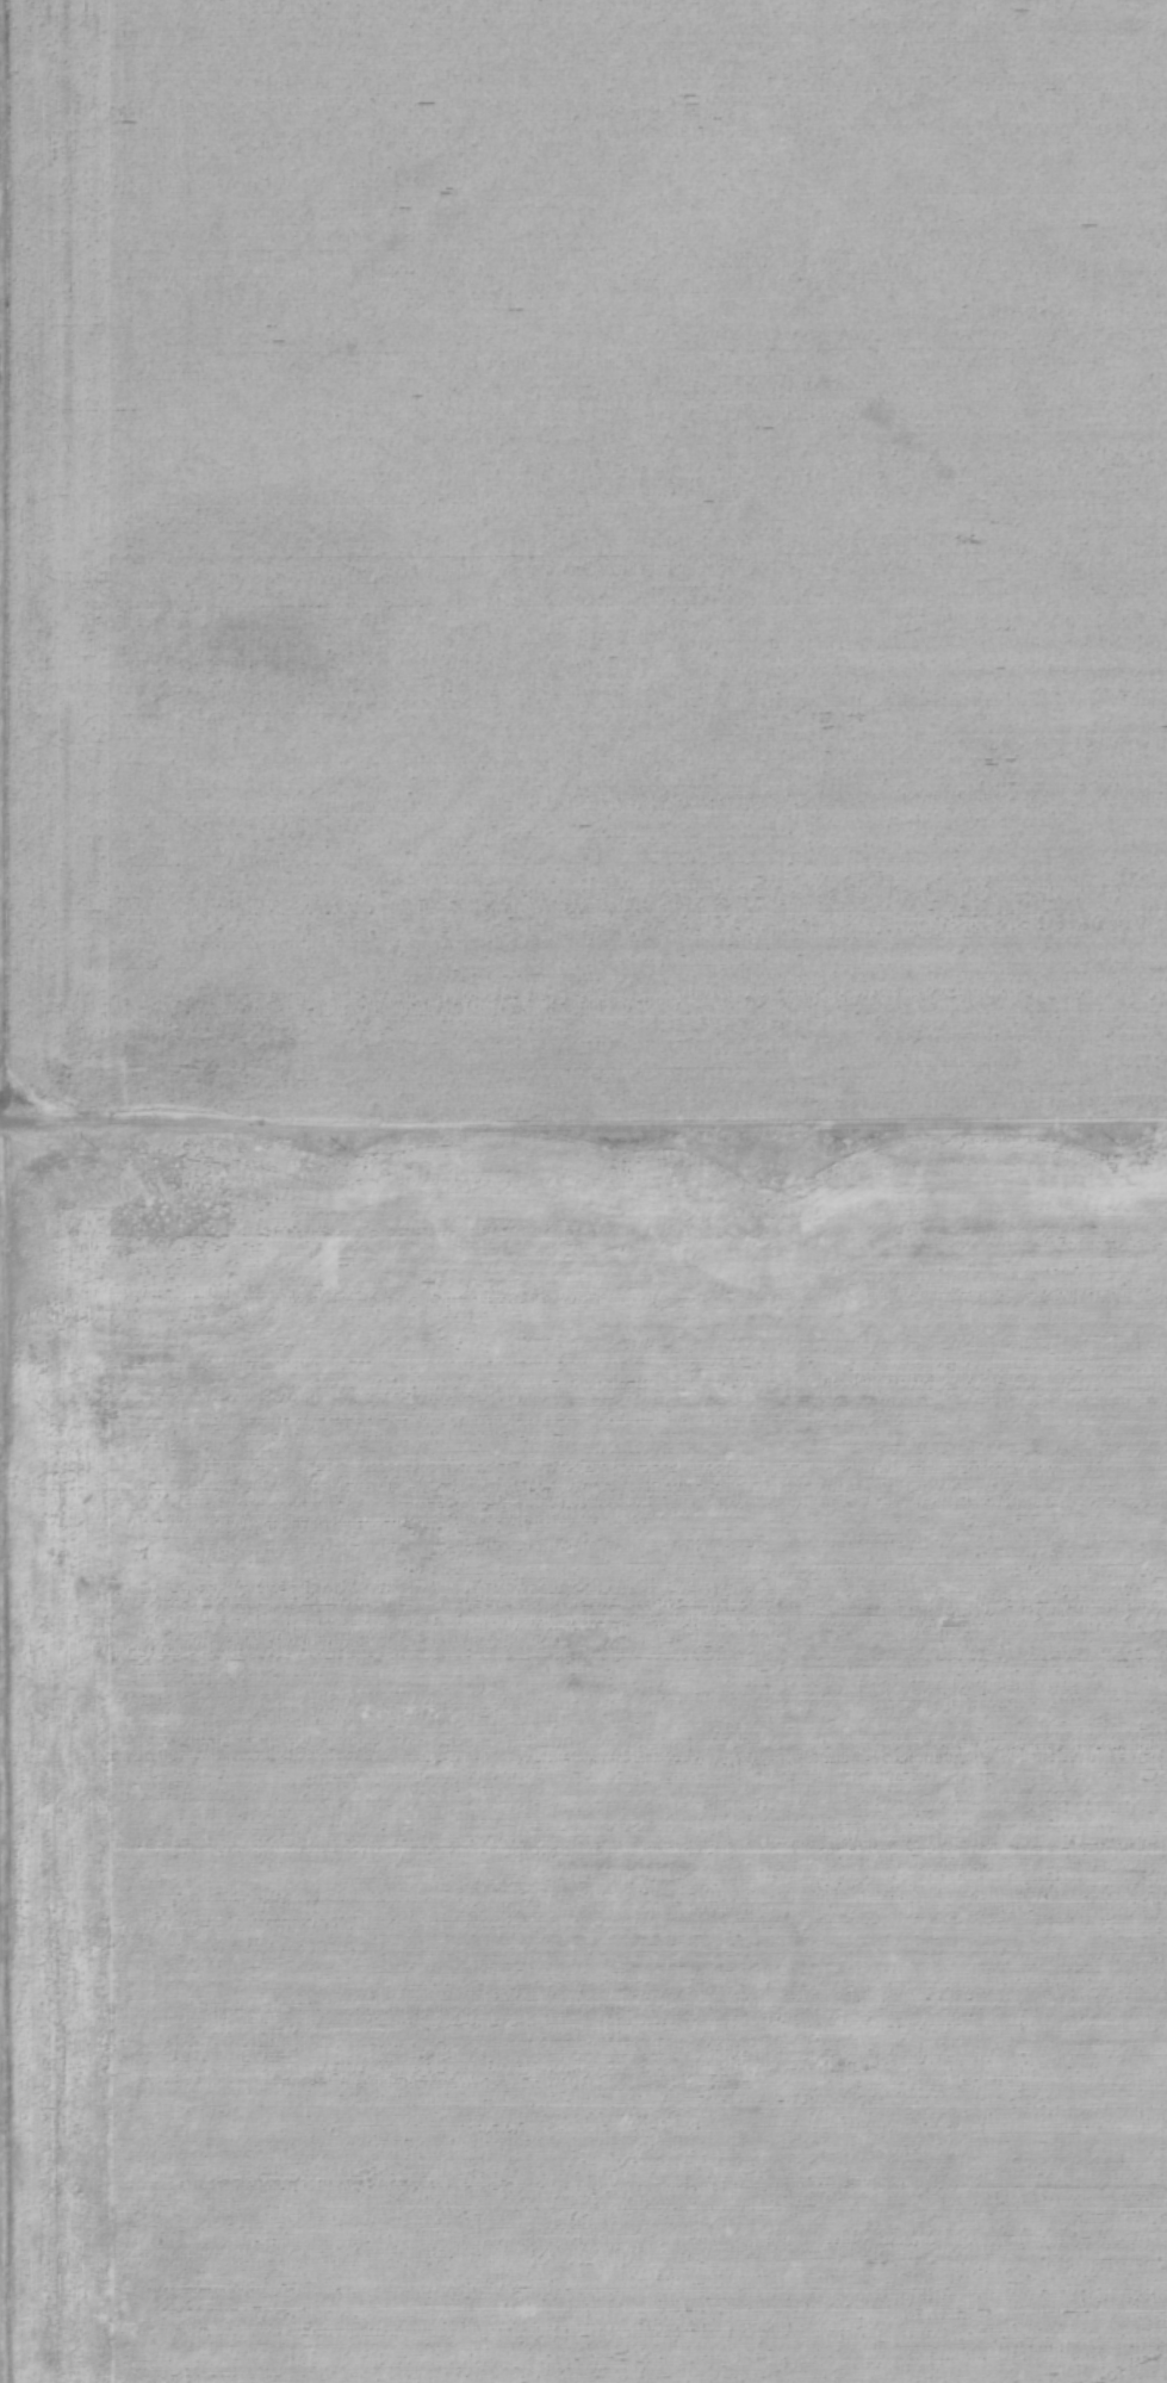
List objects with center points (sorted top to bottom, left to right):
road: (583, 1116)

